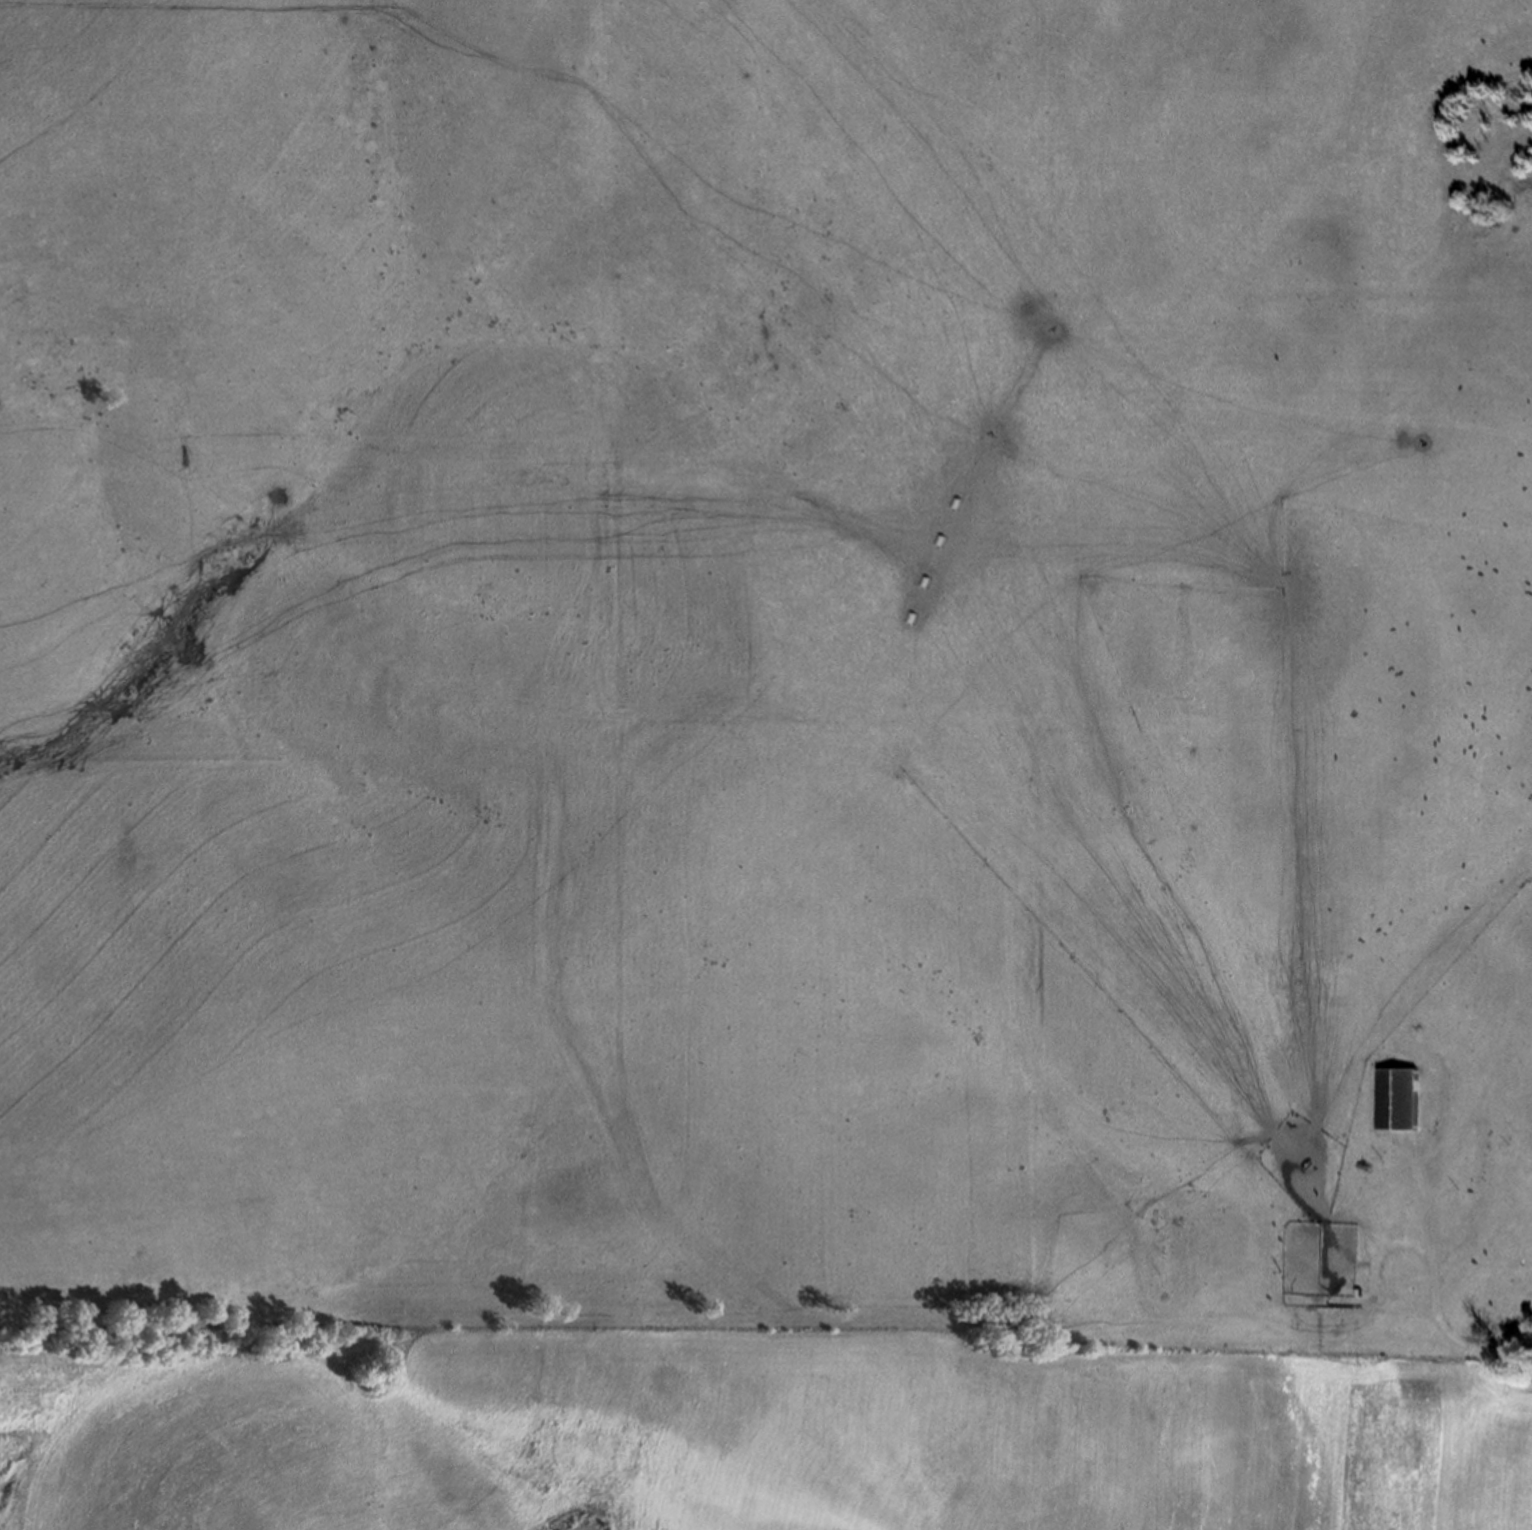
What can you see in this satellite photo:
building: (1401, 1098)
road: (1456, 1335)

